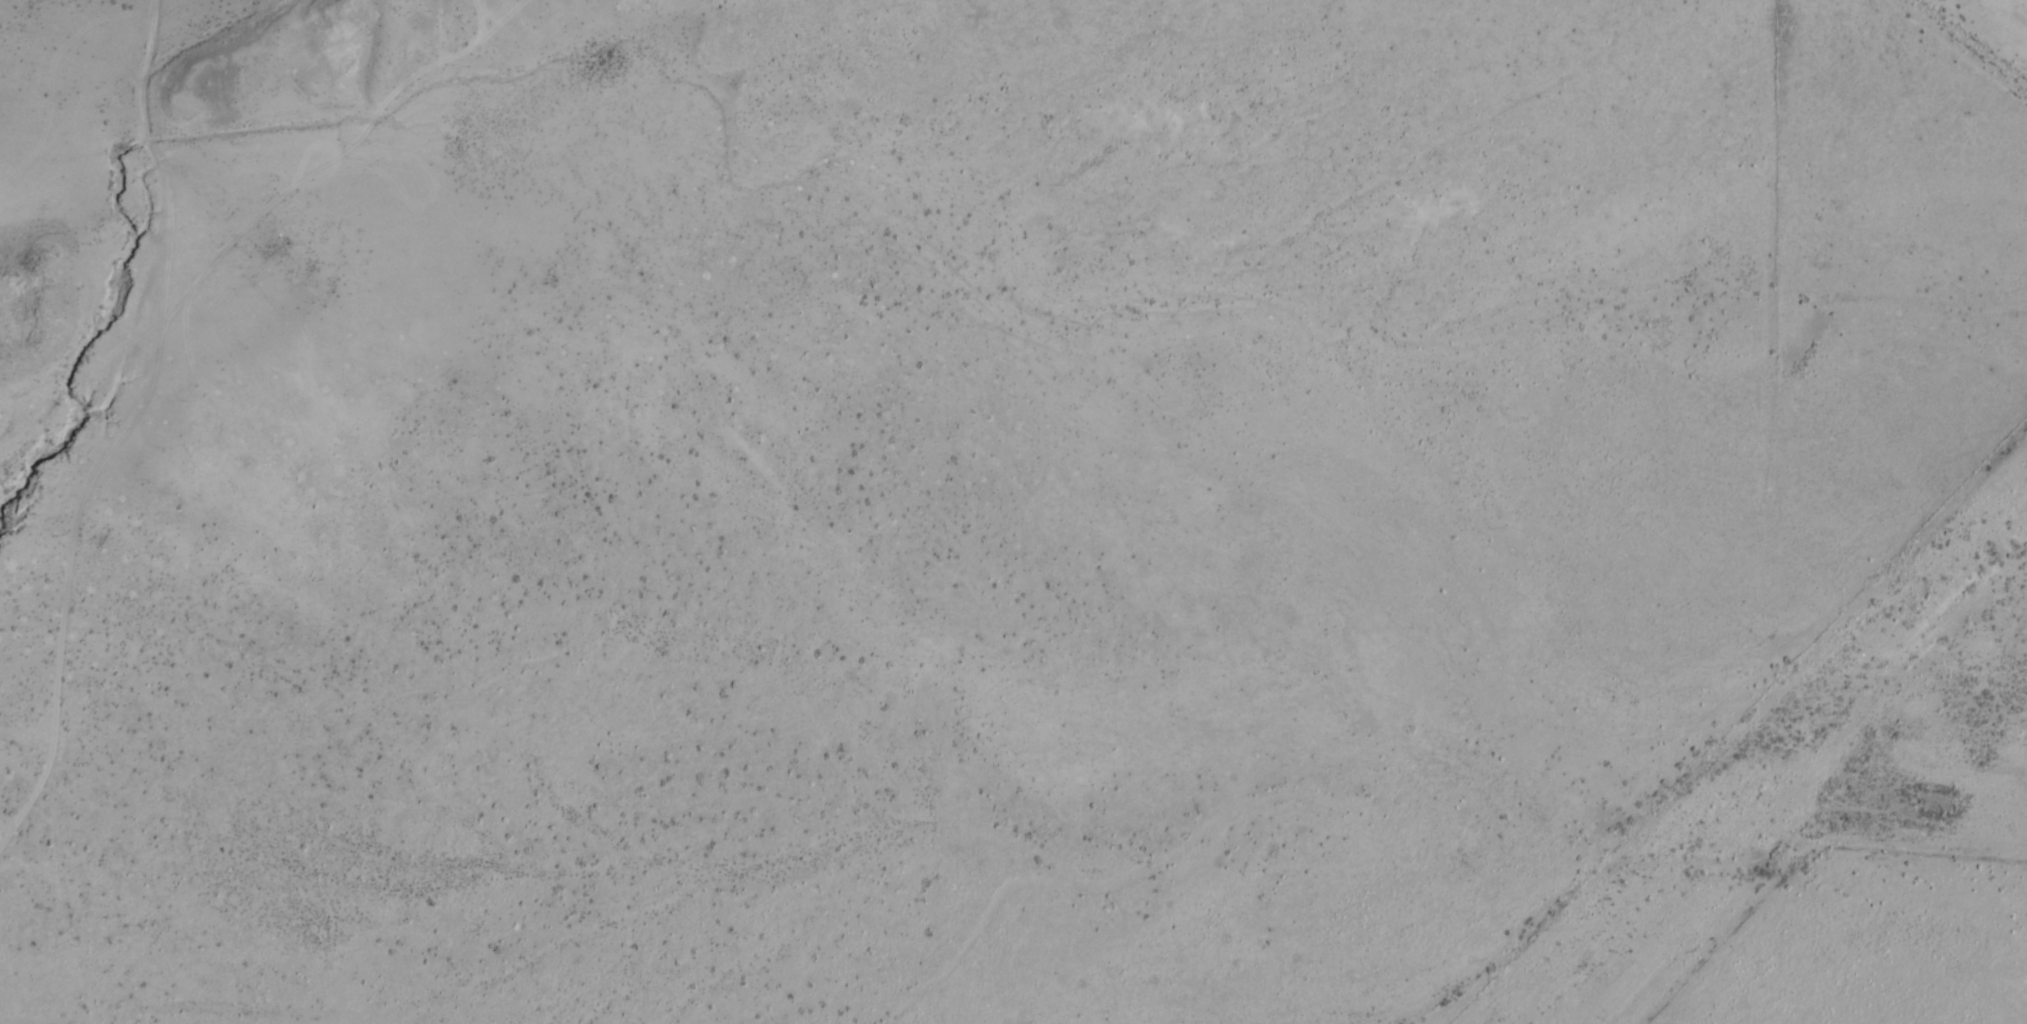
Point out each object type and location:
road: (483, 22)
road: (340, 151)
river: (88, 208)
road: (127, 433)

